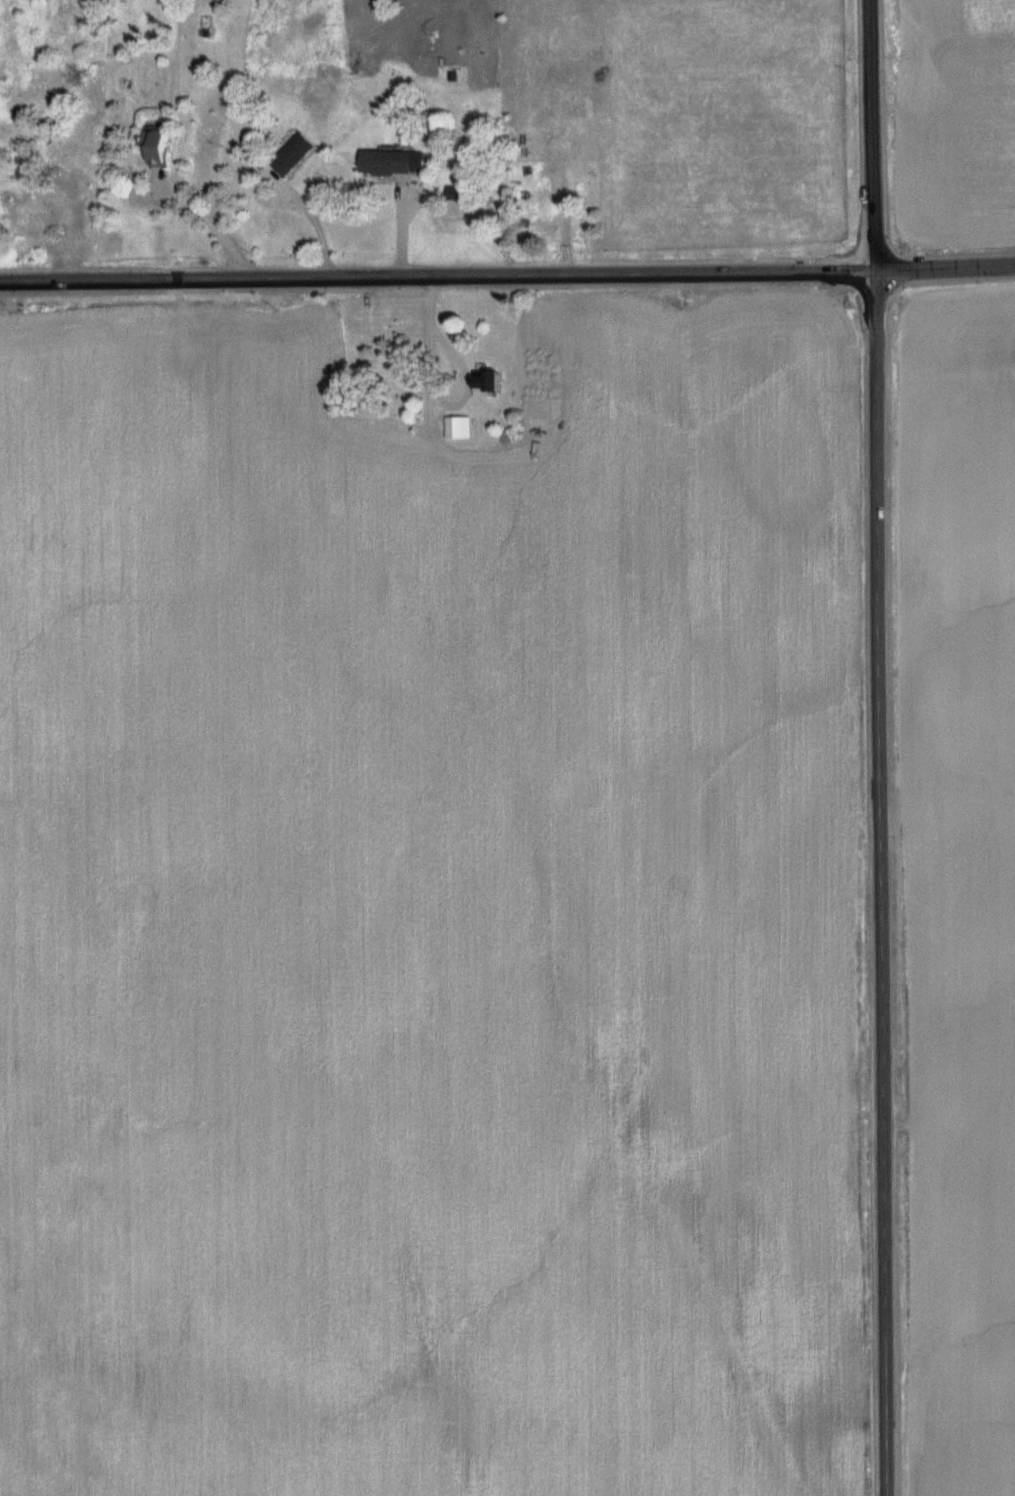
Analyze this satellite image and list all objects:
building: (157, 147)
building: (292, 154)
building: (385, 162)
road: (945, 265)
road: (438, 275)
building: (484, 384)
building: (455, 428)
road: (880, 747)

